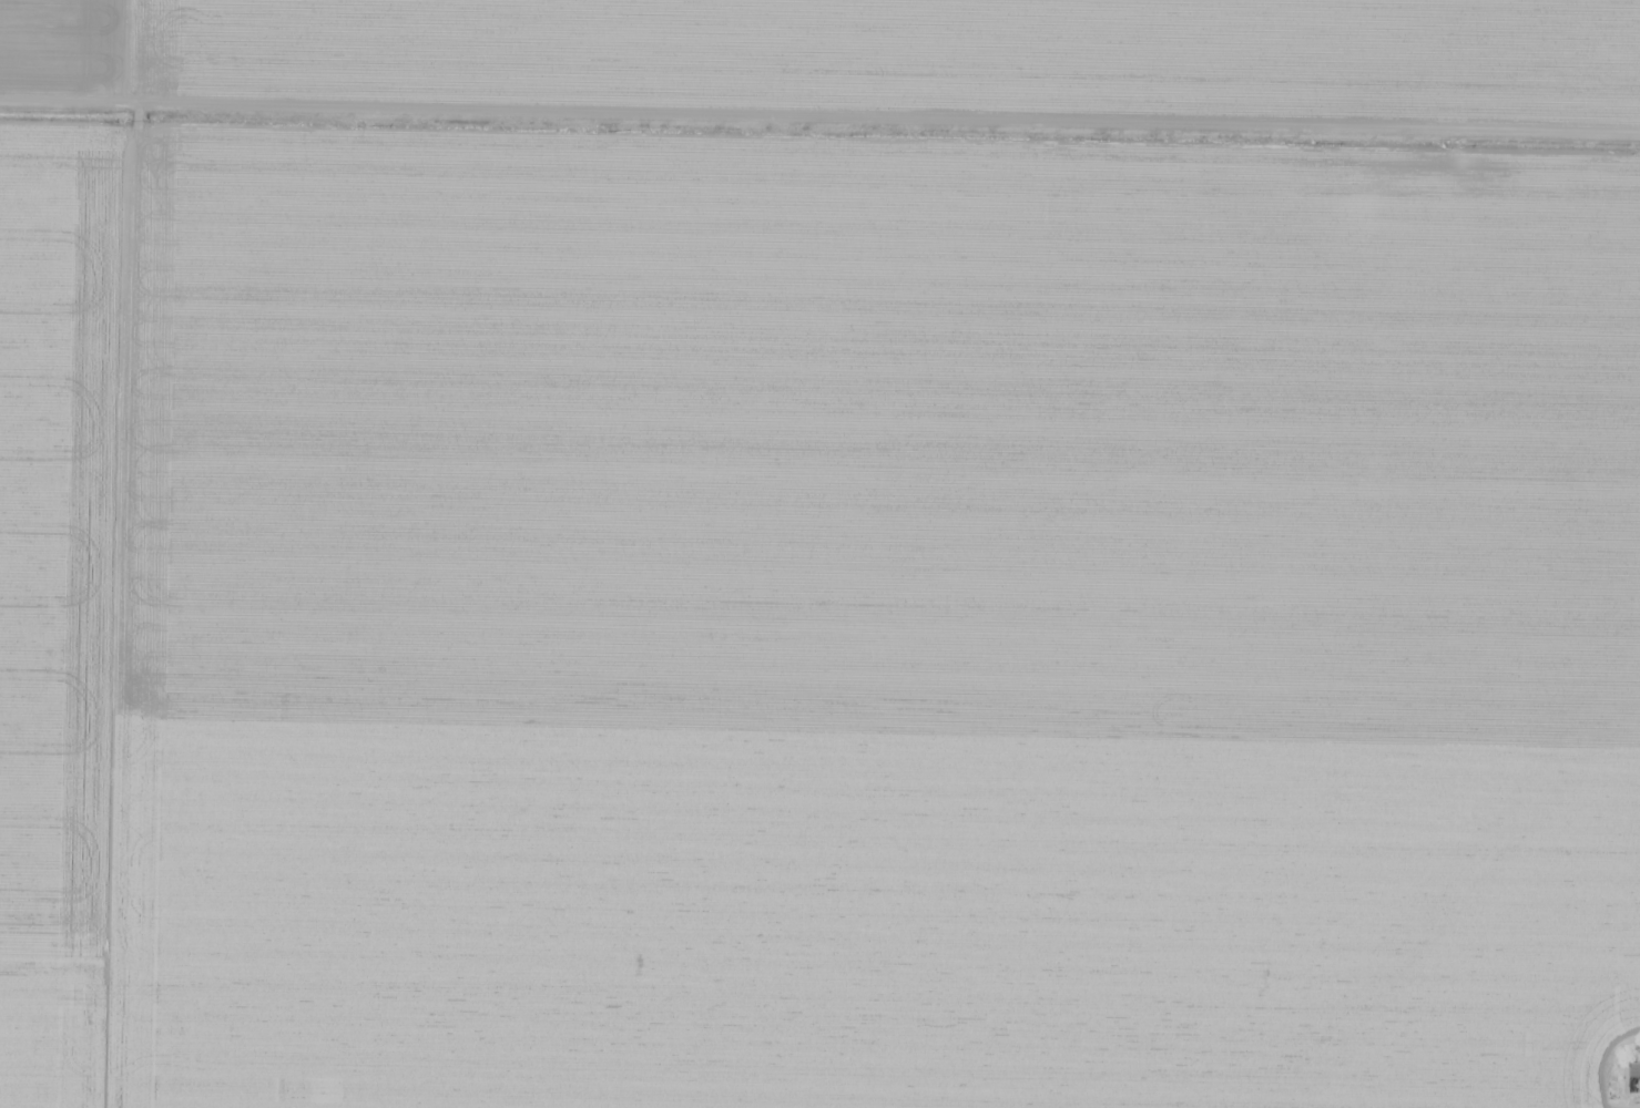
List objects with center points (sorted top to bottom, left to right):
road: (819, 110)
building: (1629, 1076)

